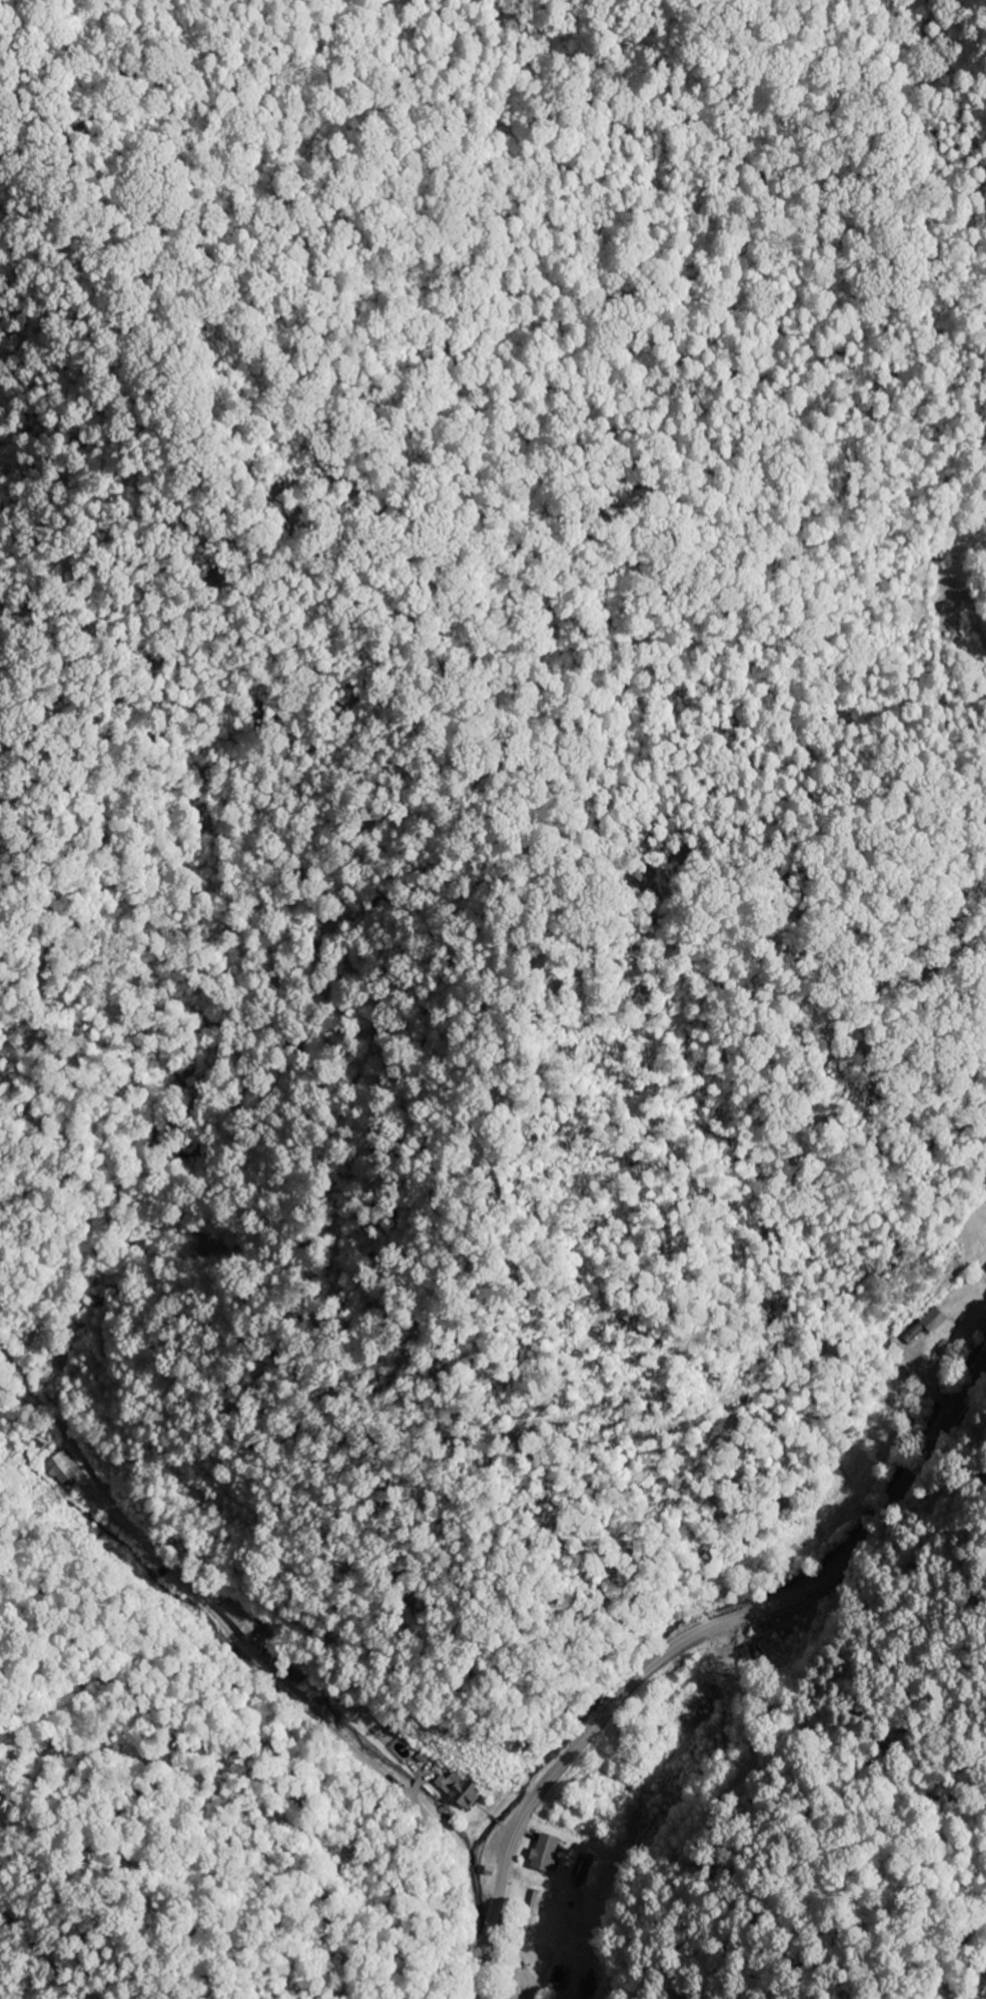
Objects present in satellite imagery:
building: (925, 1325)
building: (62, 1467)
building: (239, 1619)
road: (680, 1644)
road: (273, 1655)
building: (458, 1791)
building: (544, 1853)
building: (534, 1911)
building: (587, 1986)

